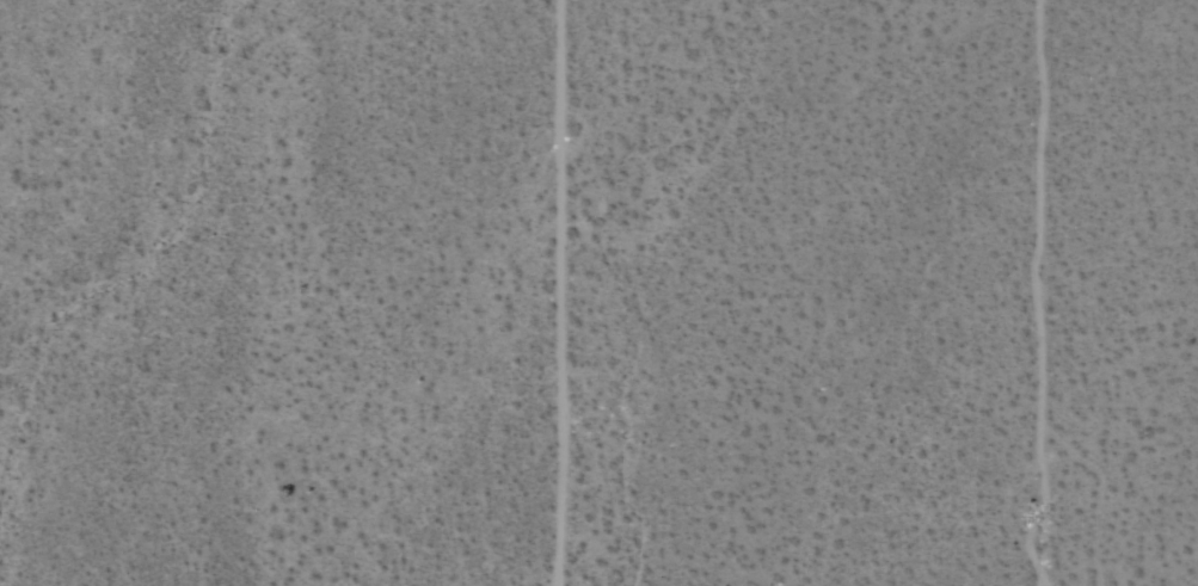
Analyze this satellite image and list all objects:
road: (549, 292)

